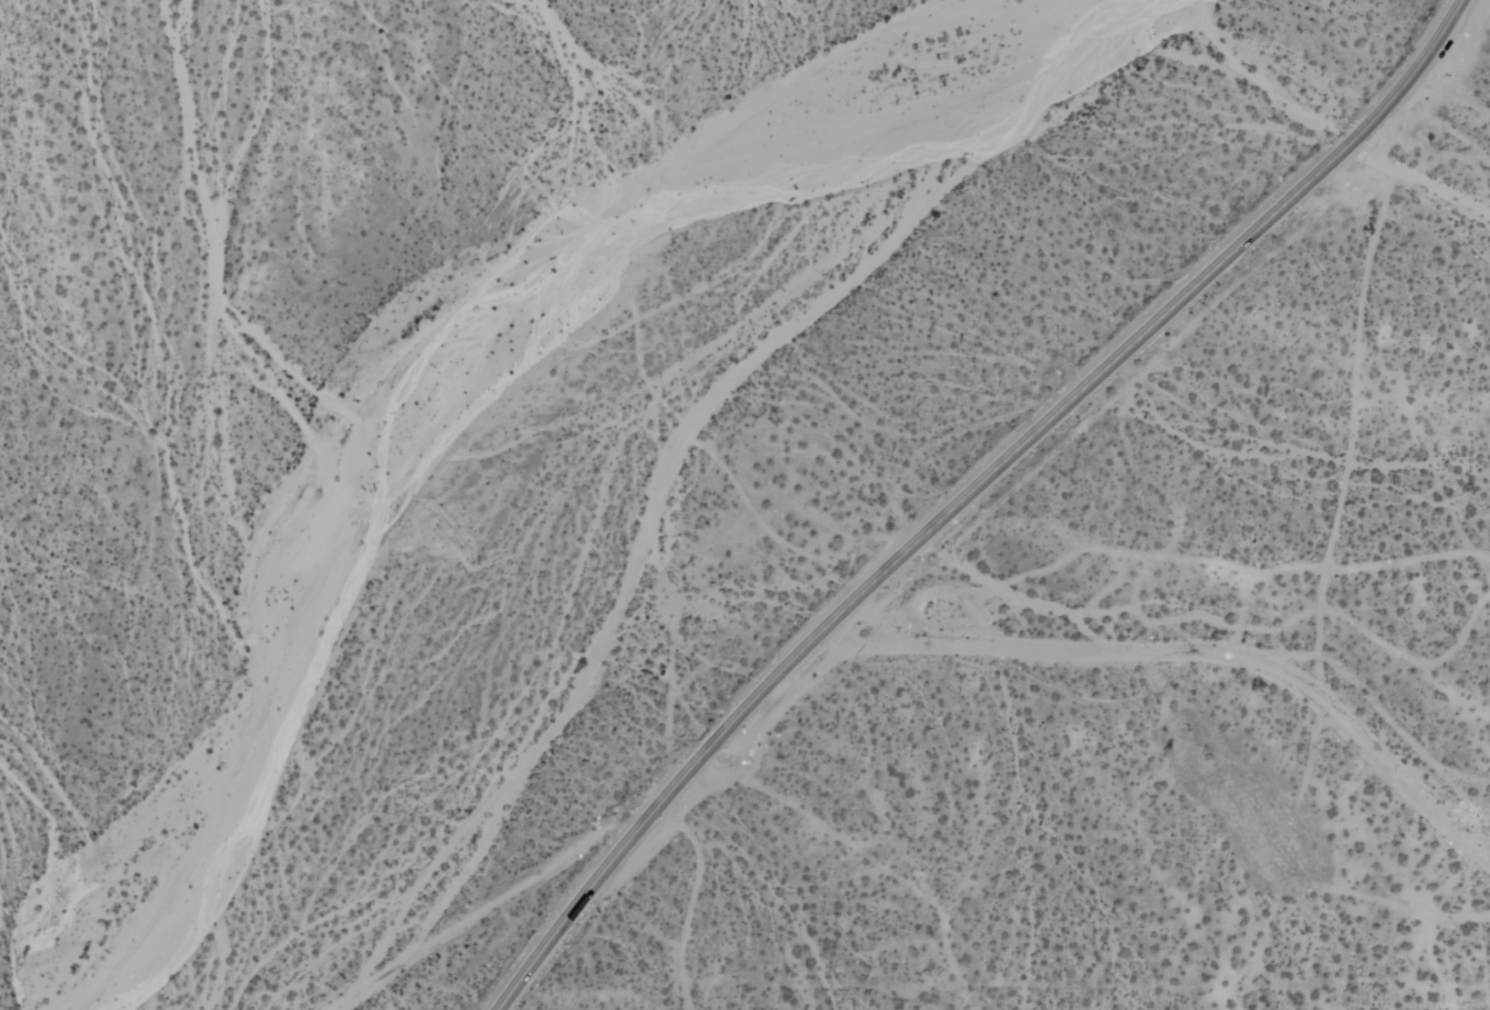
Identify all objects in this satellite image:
road: (968, 493)

